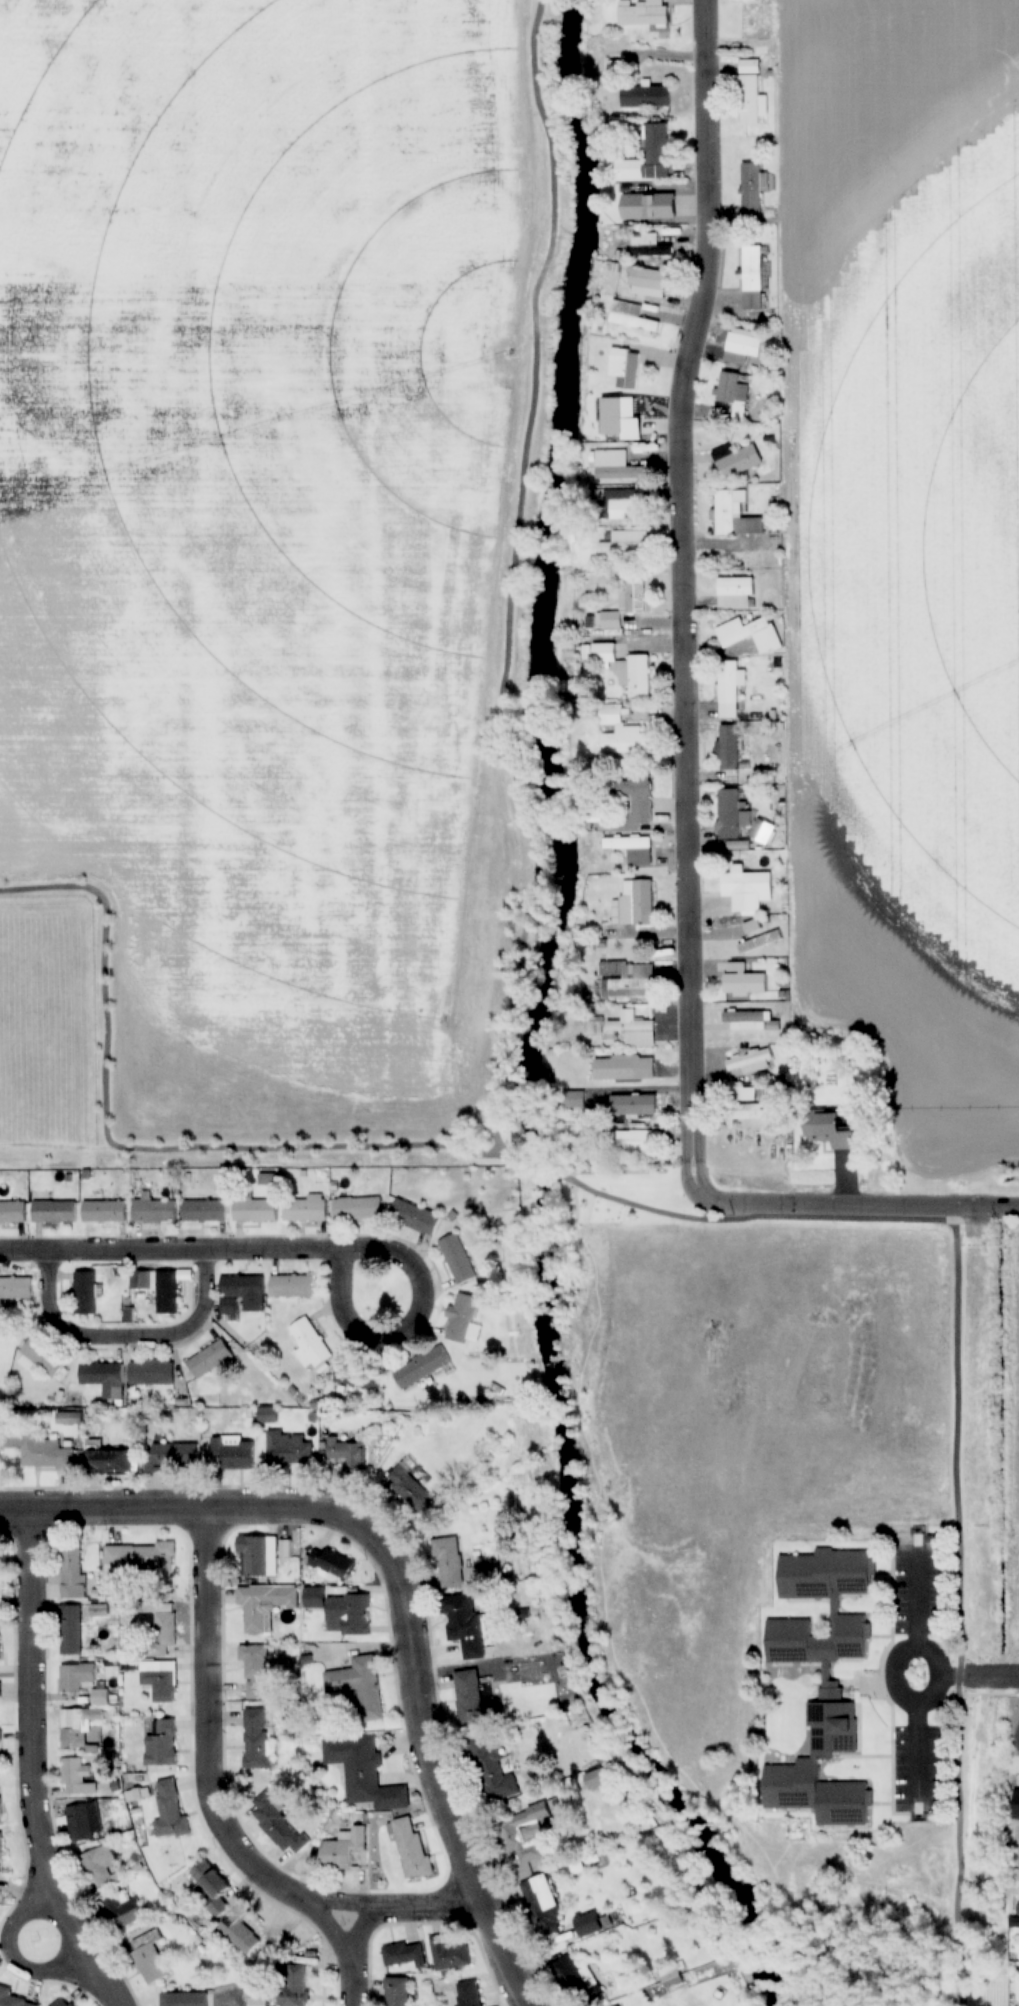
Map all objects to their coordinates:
building: (743, 0)
building: (643, 15)
building: (645, 97)
building: (751, 101)
building: (646, 156)
building: (752, 187)
building: (650, 206)
building: (649, 246)
building: (755, 280)
building: (648, 283)
building: (631, 317)
building: (742, 346)
building: (624, 367)
building: (733, 393)
building: (736, 461)
building: (614, 467)
building: (626, 506)
crop: (258, 512)
building: (733, 515)
building: (623, 543)
crop: (897, 553)
road: (513, 576)
road: (682, 591)
building: (734, 593)
building: (633, 595)
building: (748, 635)
building: (624, 670)
building: (728, 690)
building: (620, 734)
building: (728, 749)
building: (636, 798)
building: (729, 813)
building: (763, 831)
building: (630, 849)
building: (744, 887)
building: (635, 903)
building: (760, 942)
building: (627, 979)
building: (744, 983)
park: (47, 1020)
building: (744, 1020)
river: (546, 1022)
building: (624, 1029)
building: (751, 1061)
building: (624, 1068)
building: (743, 1094)
building: (572, 1100)
building: (634, 1105)
building: (747, 1111)
building: (582, 1128)
building: (829, 1131)
building: (632, 1146)
road: (143, 1150)
road: (545, 1168)
building: (358, 1208)
road: (854, 1208)
building: (306, 1209)
building: (255, 1210)
building: (104, 1211)
building: (154, 1211)
building: (205, 1211)
building: (13, 1212)
building: (54, 1212)
building: (415, 1218)
road: (195, 1251)
road: (25, 1252)
road: (398, 1252)
building: (457, 1259)
building: (292, 1286)
building: (16, 1288)
building: (159, 1288)
building: (85, 1293)
building: (242, 1294)
building: (461, 1318)
road: (127, 1337)
building: (311, 1345)
building: (210, 1358)
building: (41, 1359)
building: (421, 1366)
building: (151, 1373)
building: (357, 1373)
building: (104, 1379)
road: (957, 1415)
building: (288, 1449)
building: (46, 1453)
building: (232, 1453)
building: (345, 1453)
building: (172, 1457)
building: (110, 1460)
building: (410, 1489)
building: (259, 1556)
building: (143, 1559)
building: (331, 1562)
building: (449, 1562)
building: (73, 1571)
road: (403, 1586)
building: (265, 1605)
building: (348, 1614)
building: (465, 1625)
building: (159, 1627)
building: (71, 1630)
building: (255, 1670)
road: (896, 1674)
road: (982, 1676)
building: (160, 1680)
building: (82, 1681)
building: (819, 1681)
building: (358, 1686)
building: (0, 1691)
building: (469, 1696)
building: (79, 1725)
building: (257, 1740)
building: (162, 1743)
road: (33, 1745)
building: (363, 1772)
building: (493, 1773)
building: (75, 1776)
road: (211, 1784)
building: (170, 1811)
building: (84, 1822)
building: (276, 1826)
building: (529, 1832)
building: (343, 1848)
building: (412, 1850)
building: (0, 1853)
building: (100, 1866)
building: (211, 1885)
building: (541, 1902)
road: (387, 1907)
building: (123, 1909)
road: (364, 1928)
building: (238, 1933)
building: (147, 1954)
building: (403, 1954)
building: (449, 1954)
road: (13, 1957)
building: (671, 1977)
building: (576, 1980)
building: (294, 1984)
road: (105, 1988)
building: (397, 1991)
building: (469, 1993)
building: (13, 1999)
building: (184, 1999)
building: (258, 2002)
building: (66, 2003)
road: (244, 2003)
building: (618, 2005)

